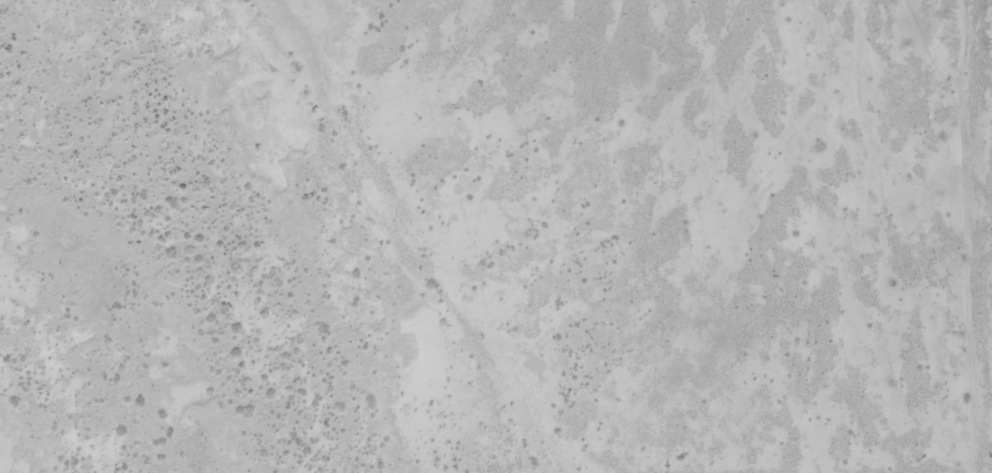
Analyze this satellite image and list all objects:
road: (903, 236)

